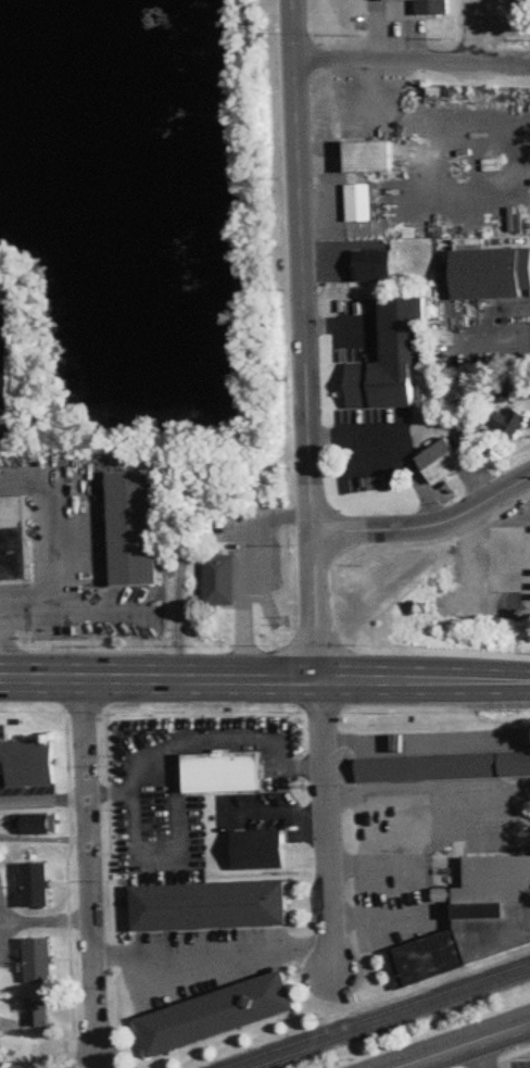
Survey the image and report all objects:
building: (429, 7)
road: (469, 30)
road: (413, 60)
building: (370, 156)
road: (515, 180)
building: (358, 203)
building: (375, 266)
building: (491, 273)
road: (340, 327)
road: (499, 337)
road: (305, 341)
building: (392, 357)
building: (4, 364)
building: (509, 423)
road: (396, 444)
building: (440, 462)
building: (134, 528)
road: (426, 528)
building: (14, 539)
building: (219, 580)
road: (51, 589)
road: (264, 681)
road: (207, 741)
road: (427, 741)
building: (27, 763)
building: (443, 767)
building: (224, 772)
road: (414, 790)
road: (45, 802)
building: (35, 825)
road: (327, 828)
building: (258, 851)
road: (90, 866)
building: (38, 885)
building: (211, 906)
road: (388, 918)
road: (47, 920)
building: (472, 922)
road: (213, 957)
building: (40, 959)
building: (39, 1014)
building: (217, 1015)
railway: (378, 1016)
railway: (392, 1020)
road: (465, 1045)
road: (478, 1054)

